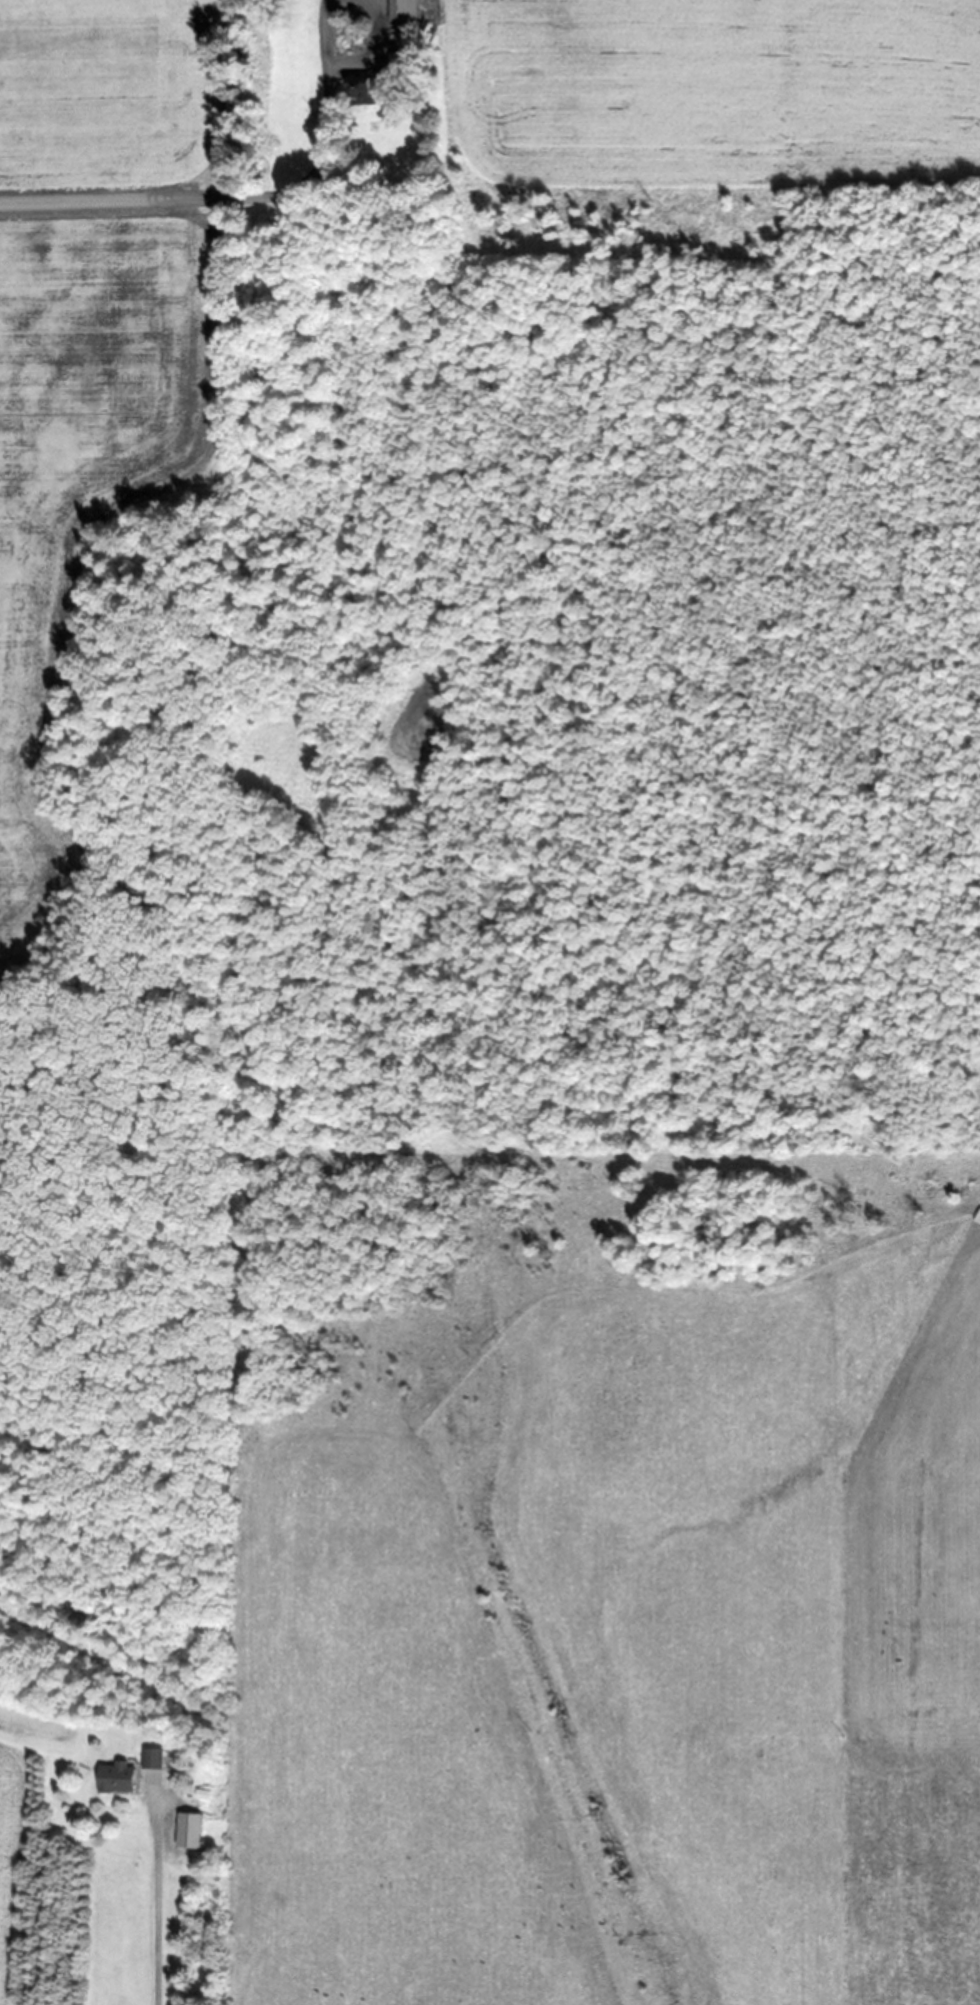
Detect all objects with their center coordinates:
building: (363, 90)
road: (175, 198)
building: (153, 1758)
building: (115, 1777)
building: (188, 1829)

